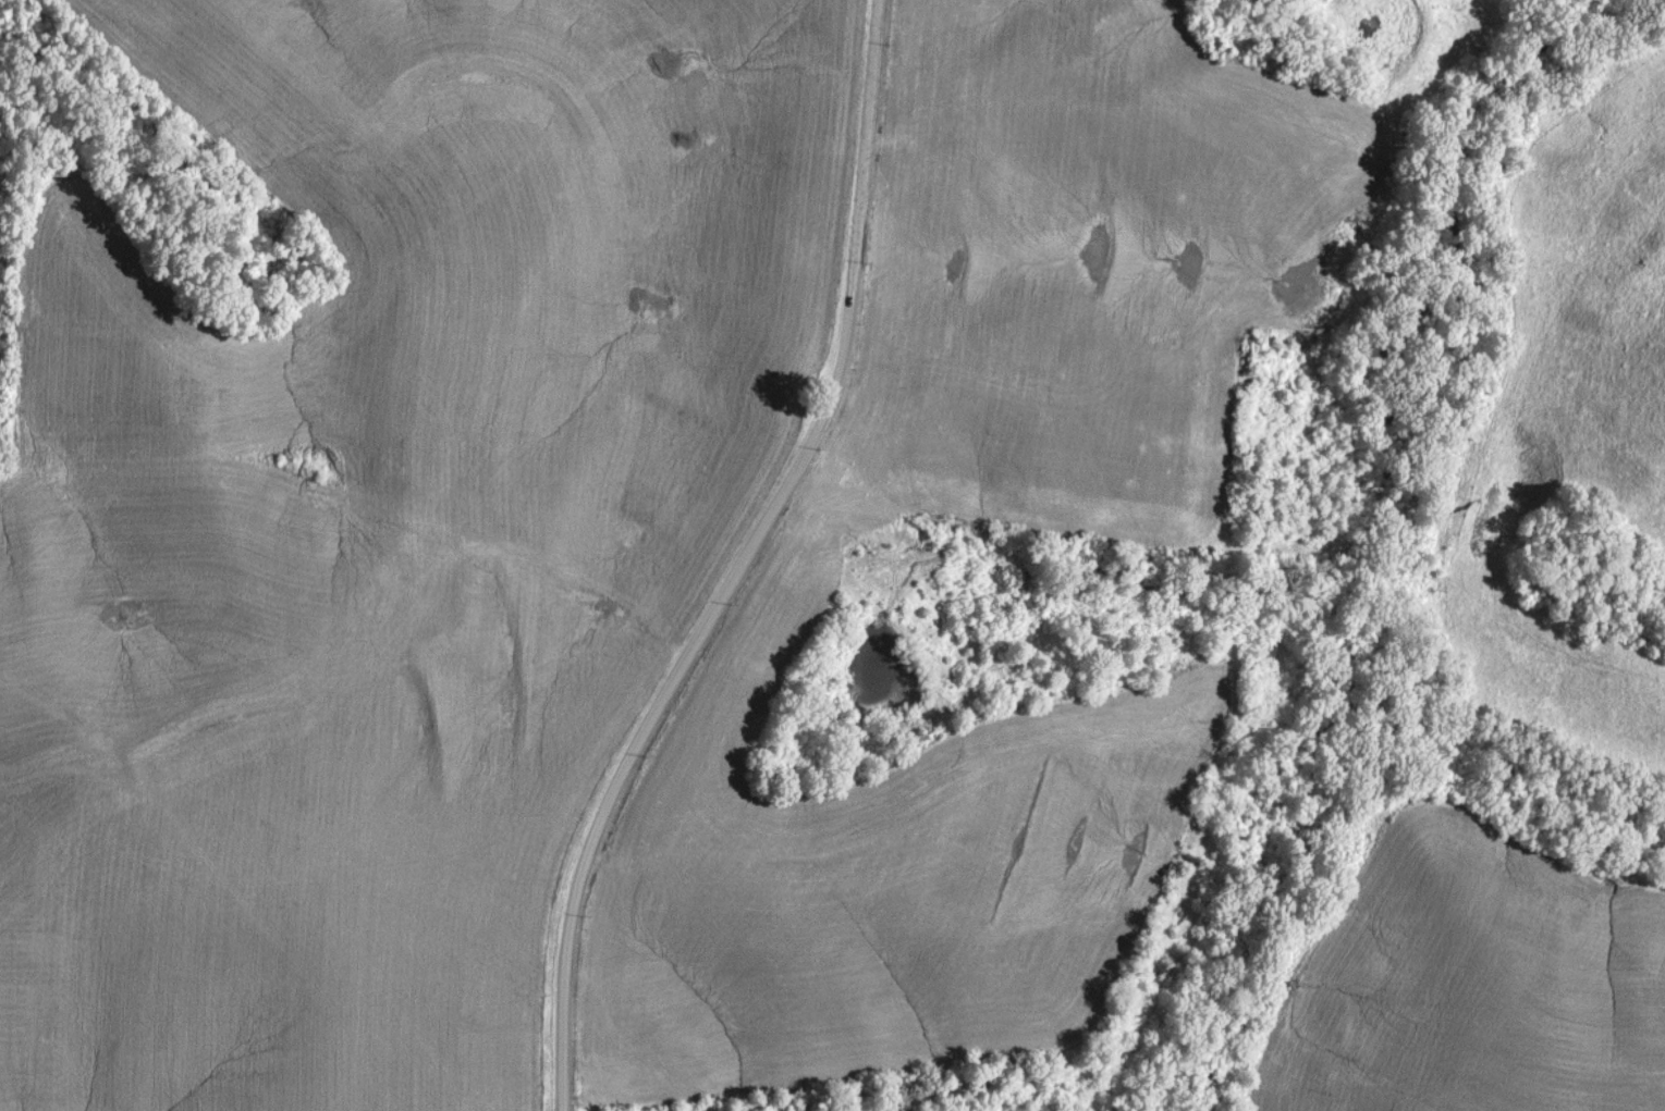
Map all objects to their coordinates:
road: (751, 565)

